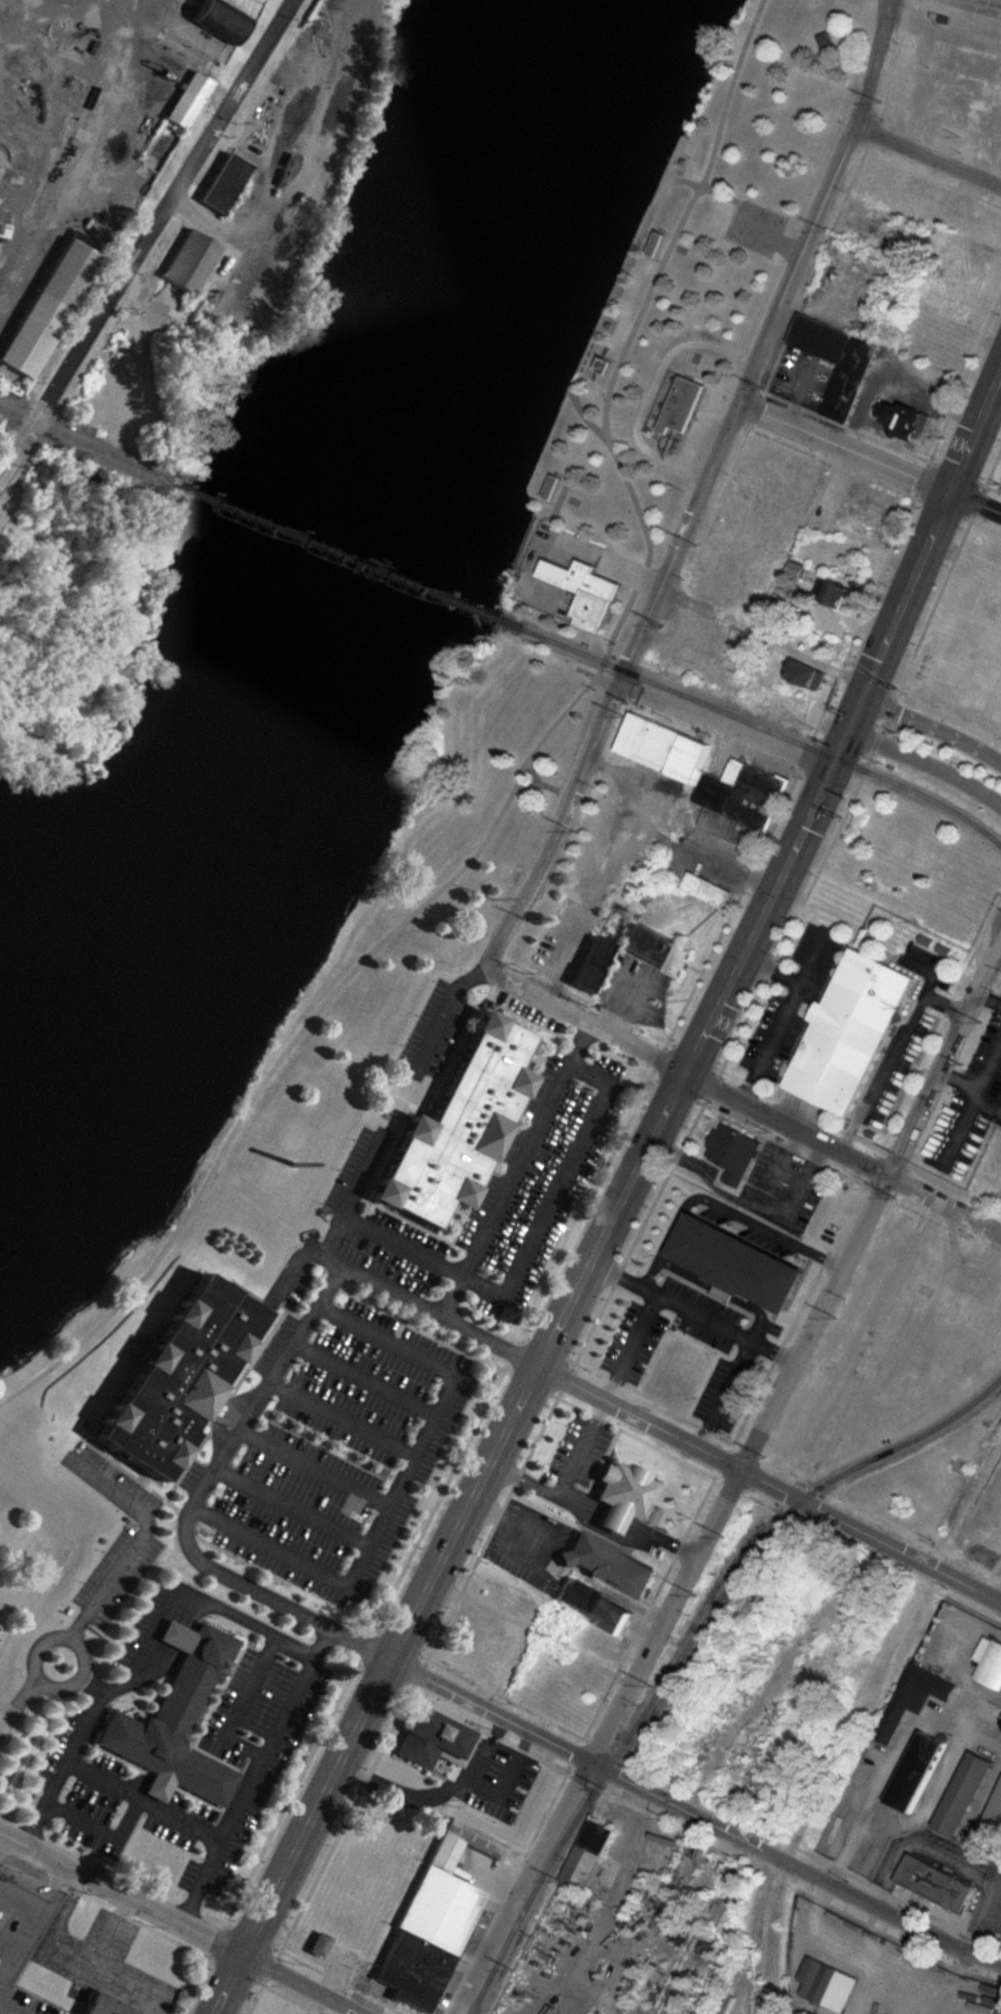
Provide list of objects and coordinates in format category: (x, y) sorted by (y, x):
building: (219, 17)
building: (825, 40)
building: (966, 63)
building: (184, 101)
railway: (75, 107)
road: (930, 157)
road: (675, 158)
building: (219, 184)
road: (719, 193)
parking lot: (755, 226)
road: (145, 239)
road: (774, 240)
building: (656, 244)
park: (705, 255)
building: (185, 263)
road: (616, 295)
building: (44, 307)
building: (854, 308)
building: (603, 366)
building: (923, 380)
road: (654, 389)
building: (844, 390)
building: (680, 407)
building: (900, 422)
railway: (84, 444)
road: (845, 448)
building: (553, 488)
road: (702, 489)
road: (976, 504)
road: (560, 509)
building: (763, 522)
road: (561, 542)
railway: (344, 554)
river: (353, 590)
building: (585, 592)
building: (831, 596)
park: (544, 620)
building: (799, 675)
road: (609, 681)
railway: (765, 729)
road: (933, 729)
road: (726, 732)
road: (527, 765)
road: (927, 766)
road: (534, 773)
building: (703, 778)
road: (544, 786)
building: (704, 890)
building: (650, 949)
road: (806, 956)
building: (586, 965)
road: (437, 1005)
road: (777, 1013)
building: (846, 1032)
road: (887, 1045)
road: (943, 1061)
park: (303, 1080)
road: (744, 1101)
building: (449, 1125)
building: (730, 1155)
chimney: (291, 1163)
road: (510, 1165)
road: (623, 1202)
building: (815, 1233)
road: (306, 1308)
building: (763, 1323)
building: (745, 1354)
building: (176, 1378)
building: (671, 1386)
road: (770, 1485)
railway: (828, 1485)
building: (603, 1565)
road: (180, 1588)
road: (676, 1597)
building: (593, 1608)
building: (988, 1662)
road: (70, 1686)
building: (910, 1698)
road: (237, 1699)
road: (17, 1701)
building: (984, 1713)
building: (172, 1720)
building: (430, 1740)
road: (63, 1755)
road: (592, 1762)
building: (912, 1772)
road: (248, 1773)
road: (873, 1785)
building: (960, 1794)
road: (140, 1795)
railway: (575, 1820)
building: (989, 1823)
road: (97, 1826)
building: (586, 1856)
building: (733, 1876)
building: (933, 1884)
building: (431, 1919)
road: (179, 1923)
building: (711, 1927)
building: (314, 1944)
road: (15, 1958)
building: (826, 1985)
building: (98, 2006)
road: (11, 2007)
building: (984, 2011)

